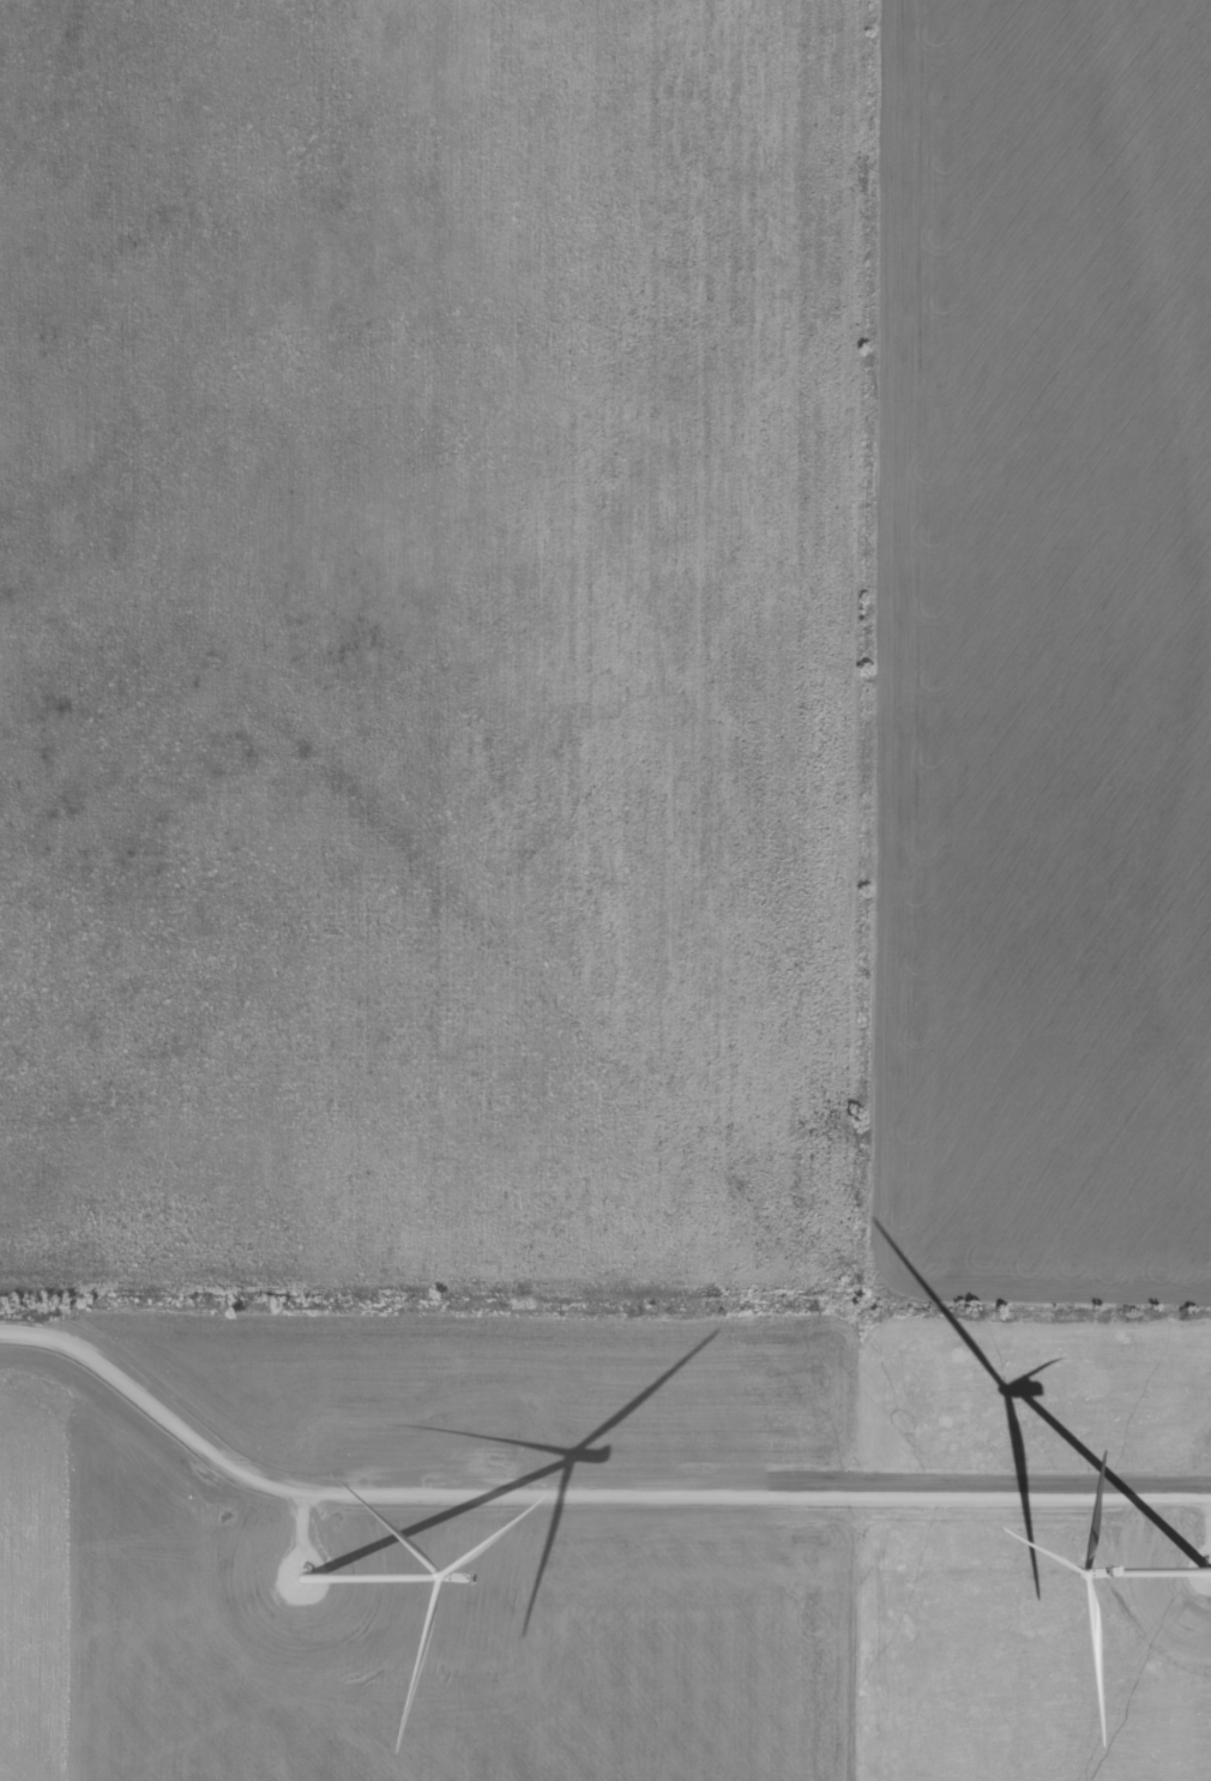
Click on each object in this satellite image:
wind turbine: (1201, 1574)
wind turbine: (296, 1578)

